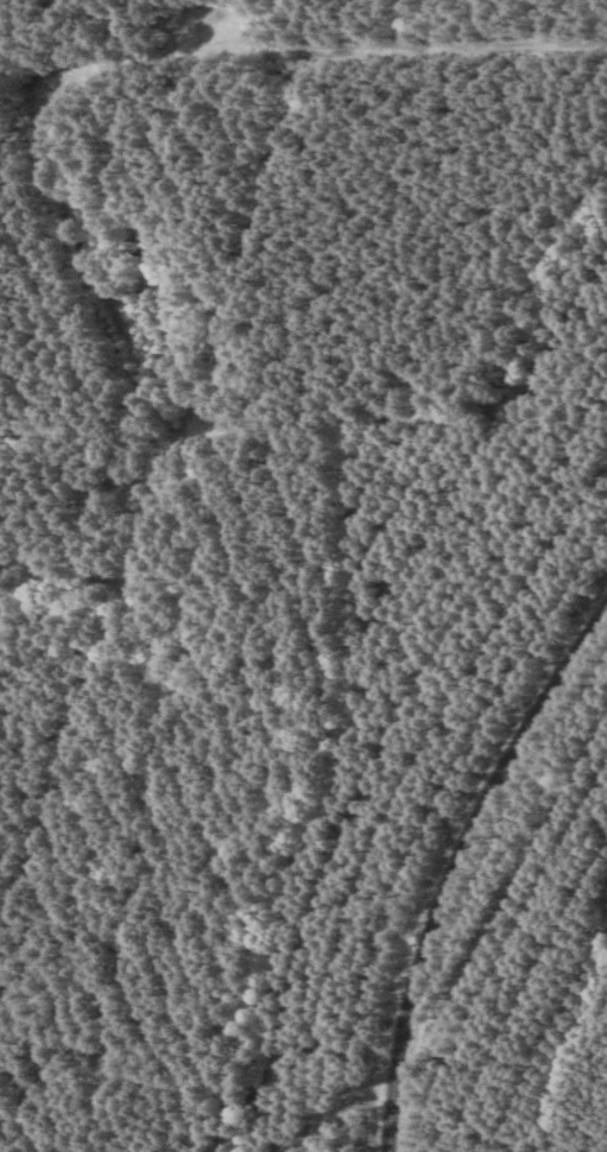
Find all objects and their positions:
road: (455, 861)

